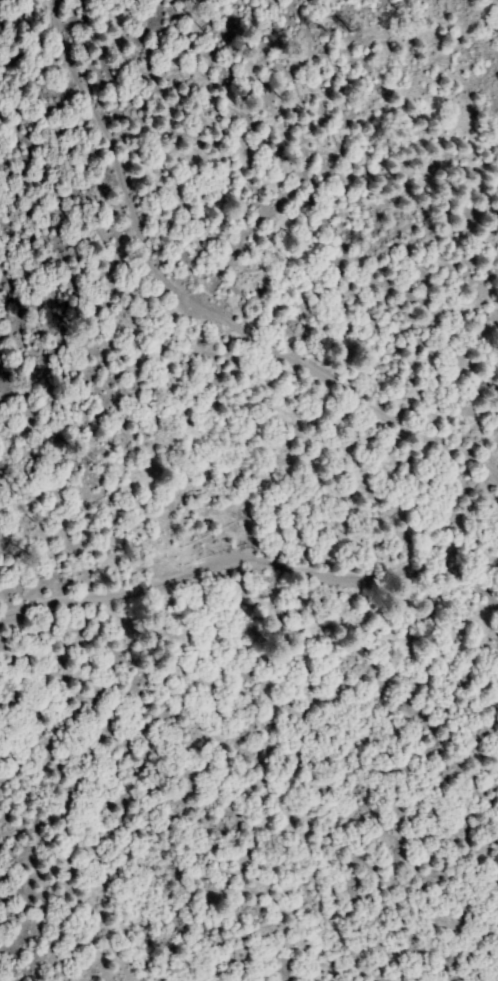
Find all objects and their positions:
road: (249, 572)

